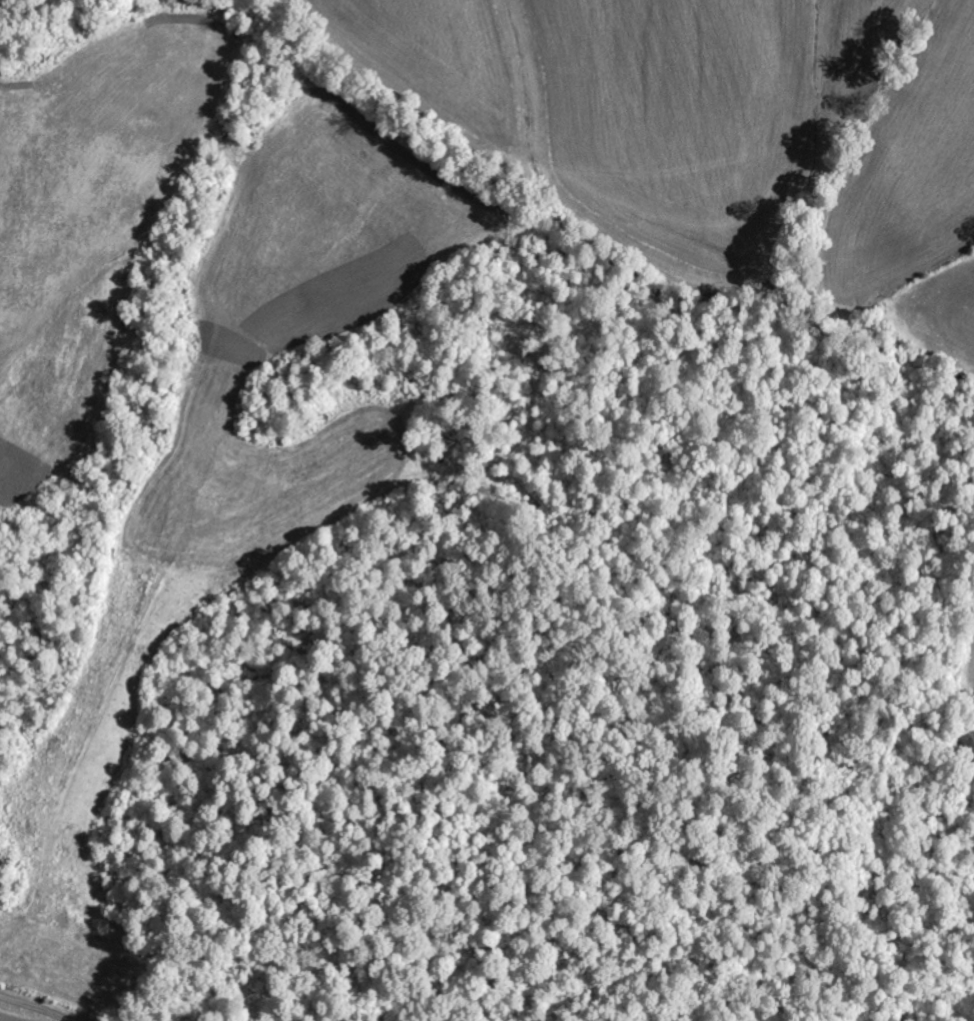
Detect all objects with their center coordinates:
road: (35, 1004)

